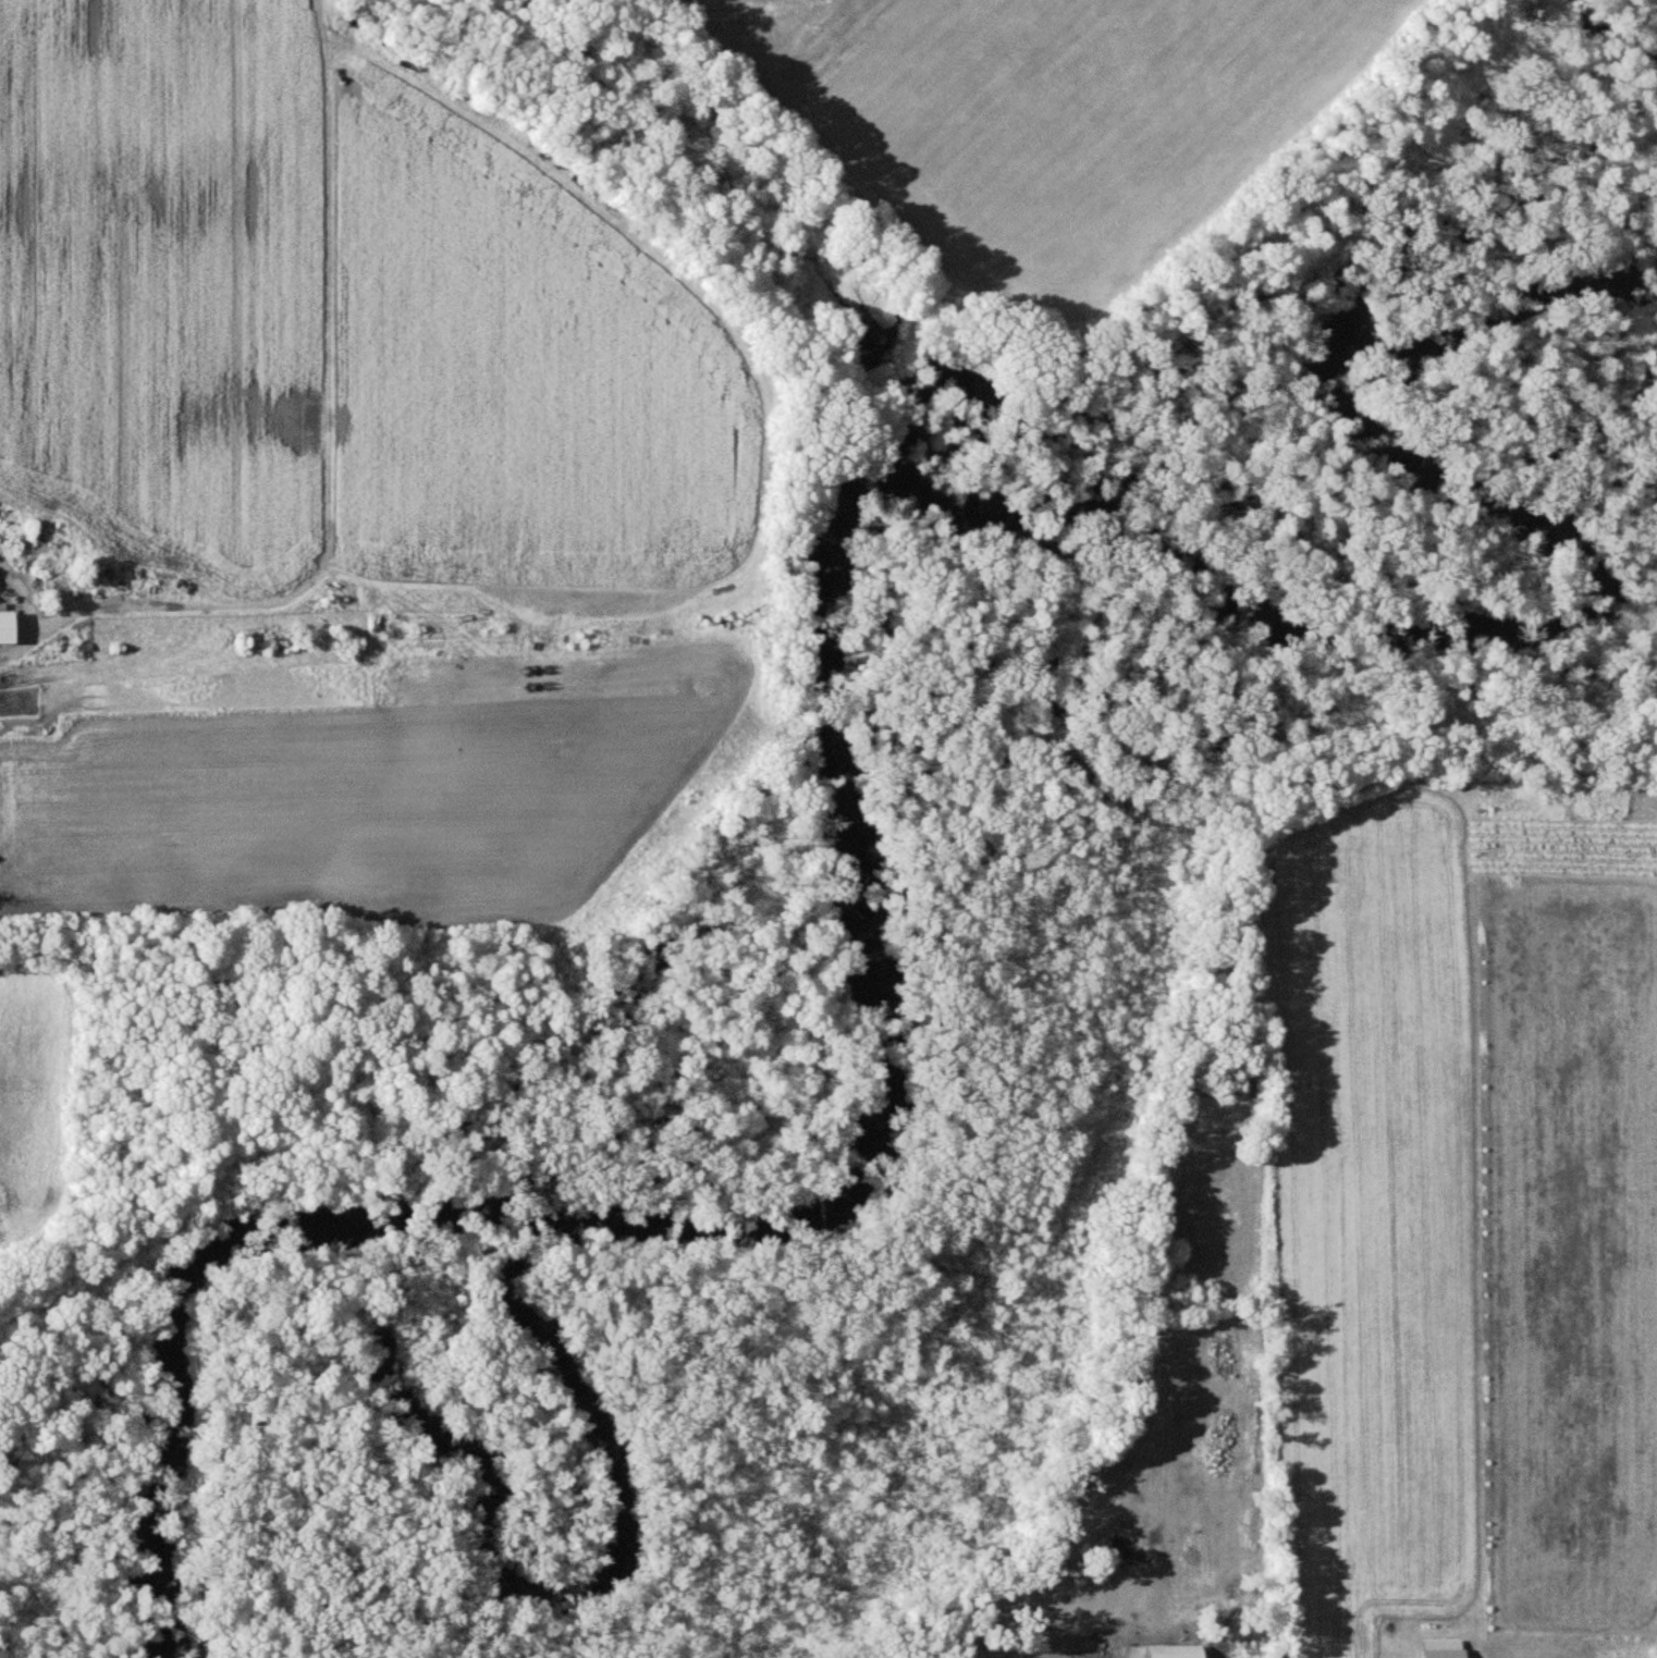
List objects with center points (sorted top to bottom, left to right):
road: (32, 611)
building: (4, 628)
river: (852, 807)
building: (1441, 1648)
building: (1173, 1650)

